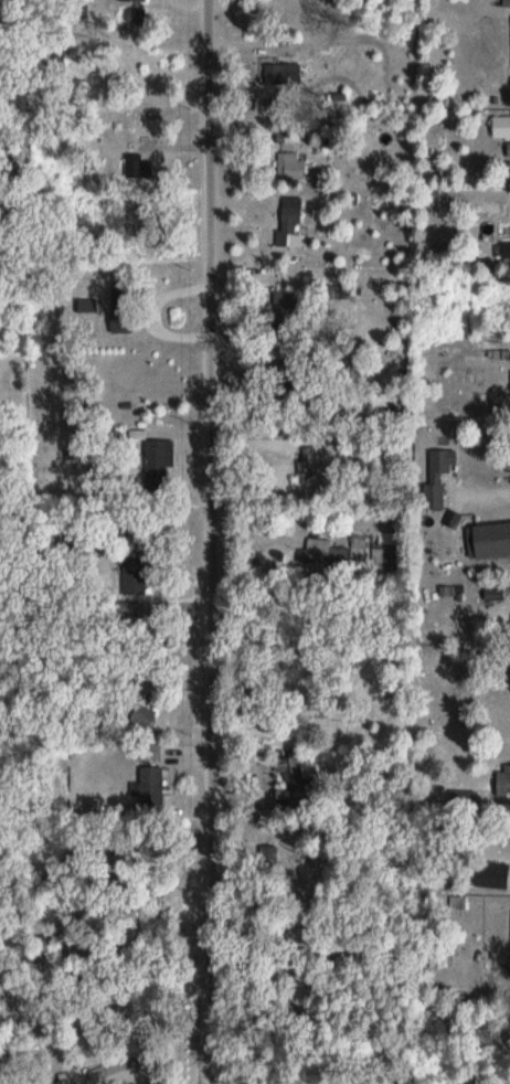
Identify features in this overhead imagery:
building: (287, 46)
building: (502, 127)
building: (295, 157)
building: (147, 167)
building: (293, 227)
building: (507, 251)
building: (125, 307)
building: (132, 373)
building: (160, 460)
building: (495, 540)
road: (216, 542)
building: (329, 553)
building: (140, 570)
building: (291, 767)
building: (504, 779)
building: (155, 786)
building: (467, 801)
building: (495, 875)
building: (62, 1074)

